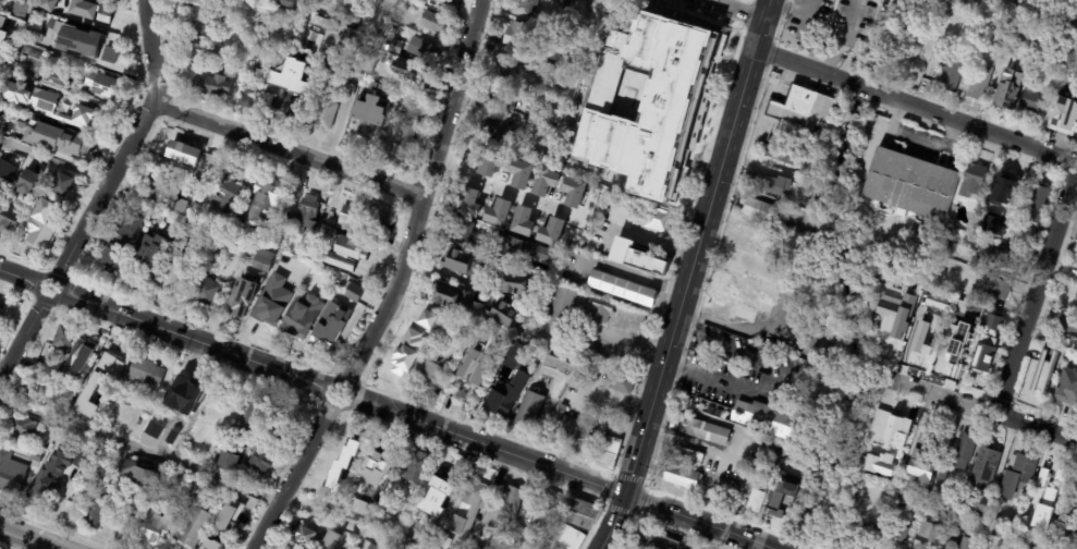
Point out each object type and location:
building: (0, 0)
building: (193, 1)
building: (444, 1)
building: (563, 1)
building: (291, 2)
building: (66, 3)
building: (45, 5)
building: (526, 5)
building: (954, 5)
building: (88, 7)
road: (738, 9)
building: (965, 9)
building: (17, 10)
building: (0, 16)
building: (220, 17)
building: (432, 23)
building: (552, 23)
building: (32, 34)
building: (524, 36)
building: (327, 38)
building: (4, 40)
building: (77, 41)
building: (198, 46)
building: (393, 46)
building: (420, 49)
building: (553, 51)
building: (29, 52)
building: (1, 54)
building: (108, 56)
building: (10, 64)
building: (285, 65)
building: (433, 66)
building: (213, 69)
building: (506, 69)
road: (806, 69)
building: (406, 71)
building: (255, 74)
building: (951, 76)
building: (346, 77)
building: (413, 77)
building: (54, 78)
building: (976, 84)
building: (101, 86)
building: (210, 86)
building: (535, 86)
building: (364, 87)
building: (345, 90)
road: (866, 90)
building: (1008, 91)
building: (273, 97)
building: (412, 99)
building: (1031, 99)
building: (397, 100)
building: (244, 101)
building: (357, 101)
building: (649, 101)
building: (501, 102)
building: (45, 103)
building: (803, 106)
building: (303, 108)
building: (368, 114)
building: (323, 115)
building: (1063, 115)
building: (553, 117)
building: (517, 118)
building: (533, 121)
building: (798, 126)
road: (975, 130)
building: (405, 131)
building: (492, 131)
building: (54, 138)
building: (1076, 143)
road: (128, 144)
road: (290, 149)
building: (172, 151)
building: (780, 152)
road: (53, 159)
building: (489, 160)
building: (207, 161)
building: (11, 168)
building: (178, 168)
building: (517, 168)
building: (975, 178)
building: (542, 180)
building: (909, 181)
building: (26, 183)
road: (495, 183)
building: (62, 185)
building: (769, 185)
building: (223, 186)
building: (0, 188)
building: (573, 192)
building: (1006, 193)
building: (167, 195)
road: (426, 197)
building: (260, 203)
building: (1035, 207)
building: (473, 208)
building: (758, 211)
building: (498, 212)
building: (200, 215)
building: (303, 217)
building: (650, 219)
building: (9, 220)
building: (522, 221)
building: (952, 221)
building: (359, 222)
building: (225, 227)
building: (197, 229)
building: (970, 230)
building: (39, 231)
building: (551, 231)
building: (926, 232)
building: (751, 235)
building: (1076, 239)
building: (121, 243)
building: (221, 243)
road: (661, 243)
building: (1013, 243)
building: (497, 244)
building: (352, 248)
building: (304, 253)
building: (146, 254)
building: (319, 254)
building: (636, 255)
building: (1002, 257)
building: (354, 258)
building: (339, 260)
building: (262, 261)
building: (467, 267)
building: (354, 270)
building: (277, 272)
road: (19, 276)
road: (689, 276)
road: (640, 278)
building: (170, 283)
building: (514, 284)
building: (919, 284)
road: (1037, 286)
road: (38, 289)
building: (996, 289)
building: (622, 290)
building: (353, 292)
building: (204, 293)
building: (319, 293)
building: (240, 298)
building: (738, 298)
building: (937, 302)
building: (473, 304)
building: (598, 313)
building: (0, 315)
building: (302, 316)
building: (895, 316)
building: (272, 318)
building: (429, 318)
building: (558, 318)
building: (992, 322)
building: (926, 330)
building: (319, 333)
building: (1067, 333)
building: (461, 335)
building: (63, 338)
road: (22, 340)
road: (195, 340)
building: (981, 340)
building: (296, 344)
building: (83, 347)
building: (539, 351)
building: (1058, 353)
building: (950, 356)
building: (399, 357)
building: (512, 357)
building: (559, 364)
building: (983, 364)
building: (474, 366)
building: (808, 370)
building: (430, 371)
building: (146, 373)
road: (774, 378)
building: (1040, 381)
building: (97, 385)
building: (621, 385)
building: (1067, 388)
building: (187, 389)
building: (119, 392)
building: (34, 393)
building: (68, 394)
road: (328, 394)
building: (504, 399)
road: (977, 400)
building: (528, 411)
building: (156, 415)
building: (253, 416)
building: (592, 417)
building: (768, 419)
building: (604, 423)
building: (562, 426)
building: (22, 427)
building: (889, 429)
building: (585, 432)
building: (705, 432)
building: (269, 442)
road: (686, 442)
building: (347, 444)
road: (488, 446)
building: (600, 452)
building: (964, 452)
building: (884, 455)
building: (36, 456)
building: (82, 457)
building: (690, 457)
building: (790, 460)
building: (228, 461)
building: (922, 463)
building: (751, 466)
building: (339, 469)
building: (376, 469)
building: (415, 469)
building: (983, 469)
building: (133, 471)
building: (714, 471)
building: (11, 474)
road: (207, 474)
road: (292, 476)
building: (1017, 476)
building: (1041, 477)
building: (47, 478)
building: (941, 478)
building: (1054, 478)
building: (681, 479)
building: (1073, 491)
building: (938, 492)
traffic signals: (625, 496)
building: (923, 496)
building: (1049, 497)
building: (436, 498)
building: (756, 500)
building: (241, 501)
building: (905, 503)
building: (509, 504)
building: (355, 505)
building: (97, 507)
building: (980, 507)
building: (120, 509)
building: (468, 509)
building: (773, 509)
building: (1041, 516)
building: (1063, 521)
road: (701, 522)
building: (949, 522)
building: (572, 524)
building: (192, 526)
building: (1063, 527)
building: (837, 528)
building: (149, 530)
building: (417, 530)
building: (993, 535)
building: (302, 537)
building: (928, 537)
road: (28, 538)
building: (867, 538)
building: (895, 539)
building: (329, 540)
building: (650, 541)
building: (960, 541)
building: (1006, 541)
building: (209, 544)
building: (371, 547)
building: (474, 547)
road: (779, 548)
building: (1012, 548)

